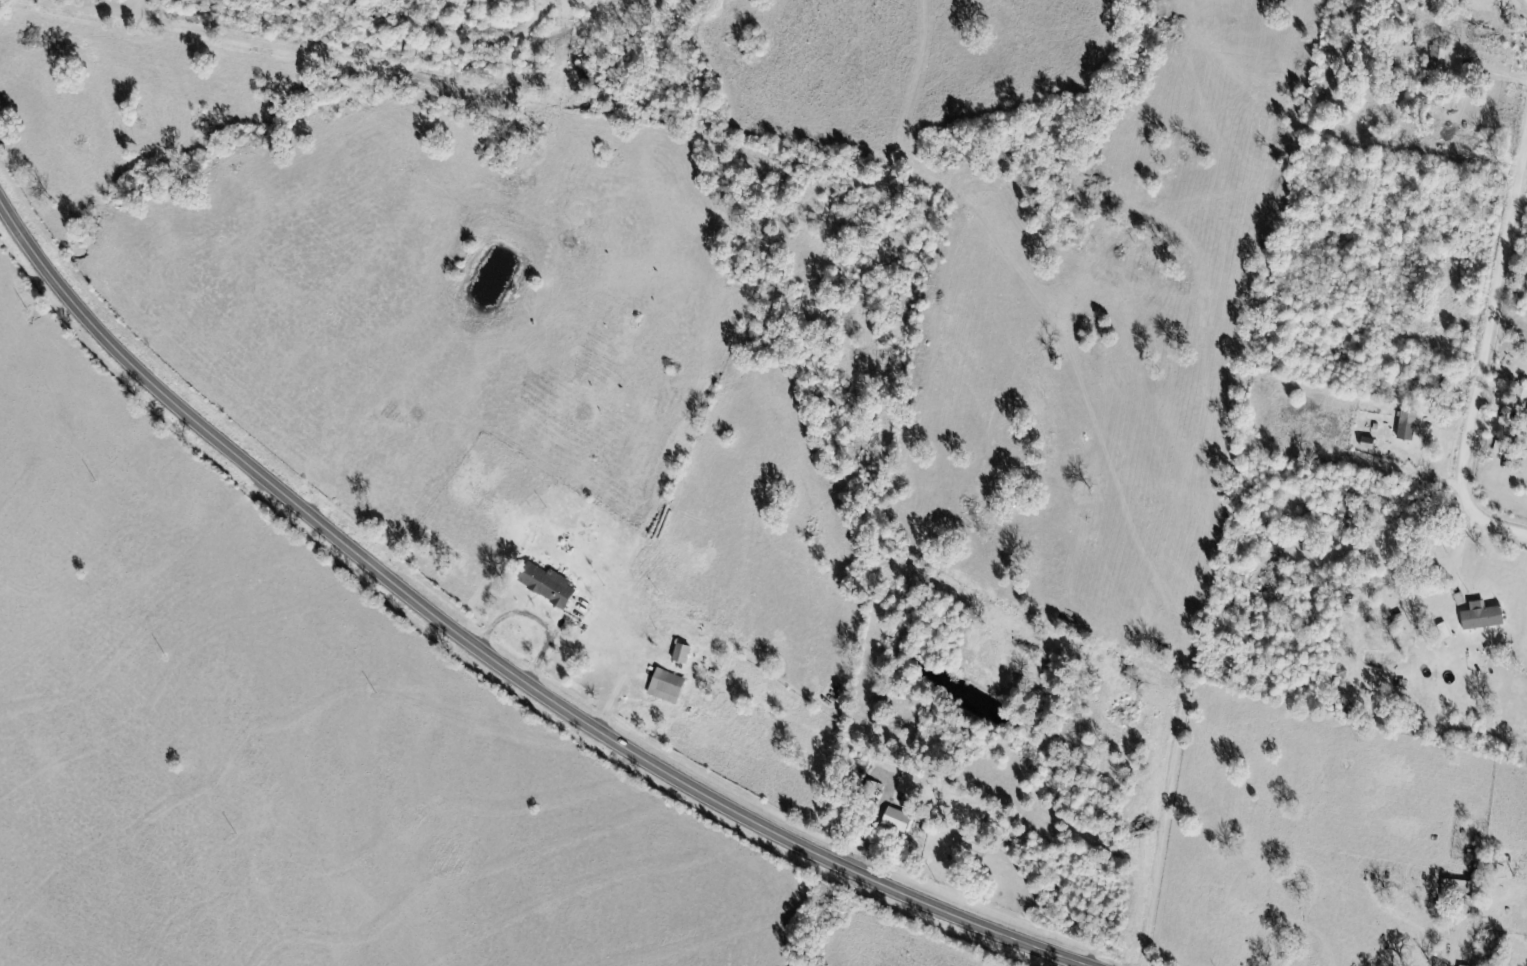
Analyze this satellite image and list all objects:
road: (1485, 350)
building: (1526, 423)
building: (1411, 426)
building: (550, 586)
building: (1485, 618)
building: (685, 655)
road: (493, 657)
building: (669, 688)
building: (900, 820)
building: (1481, 871)

